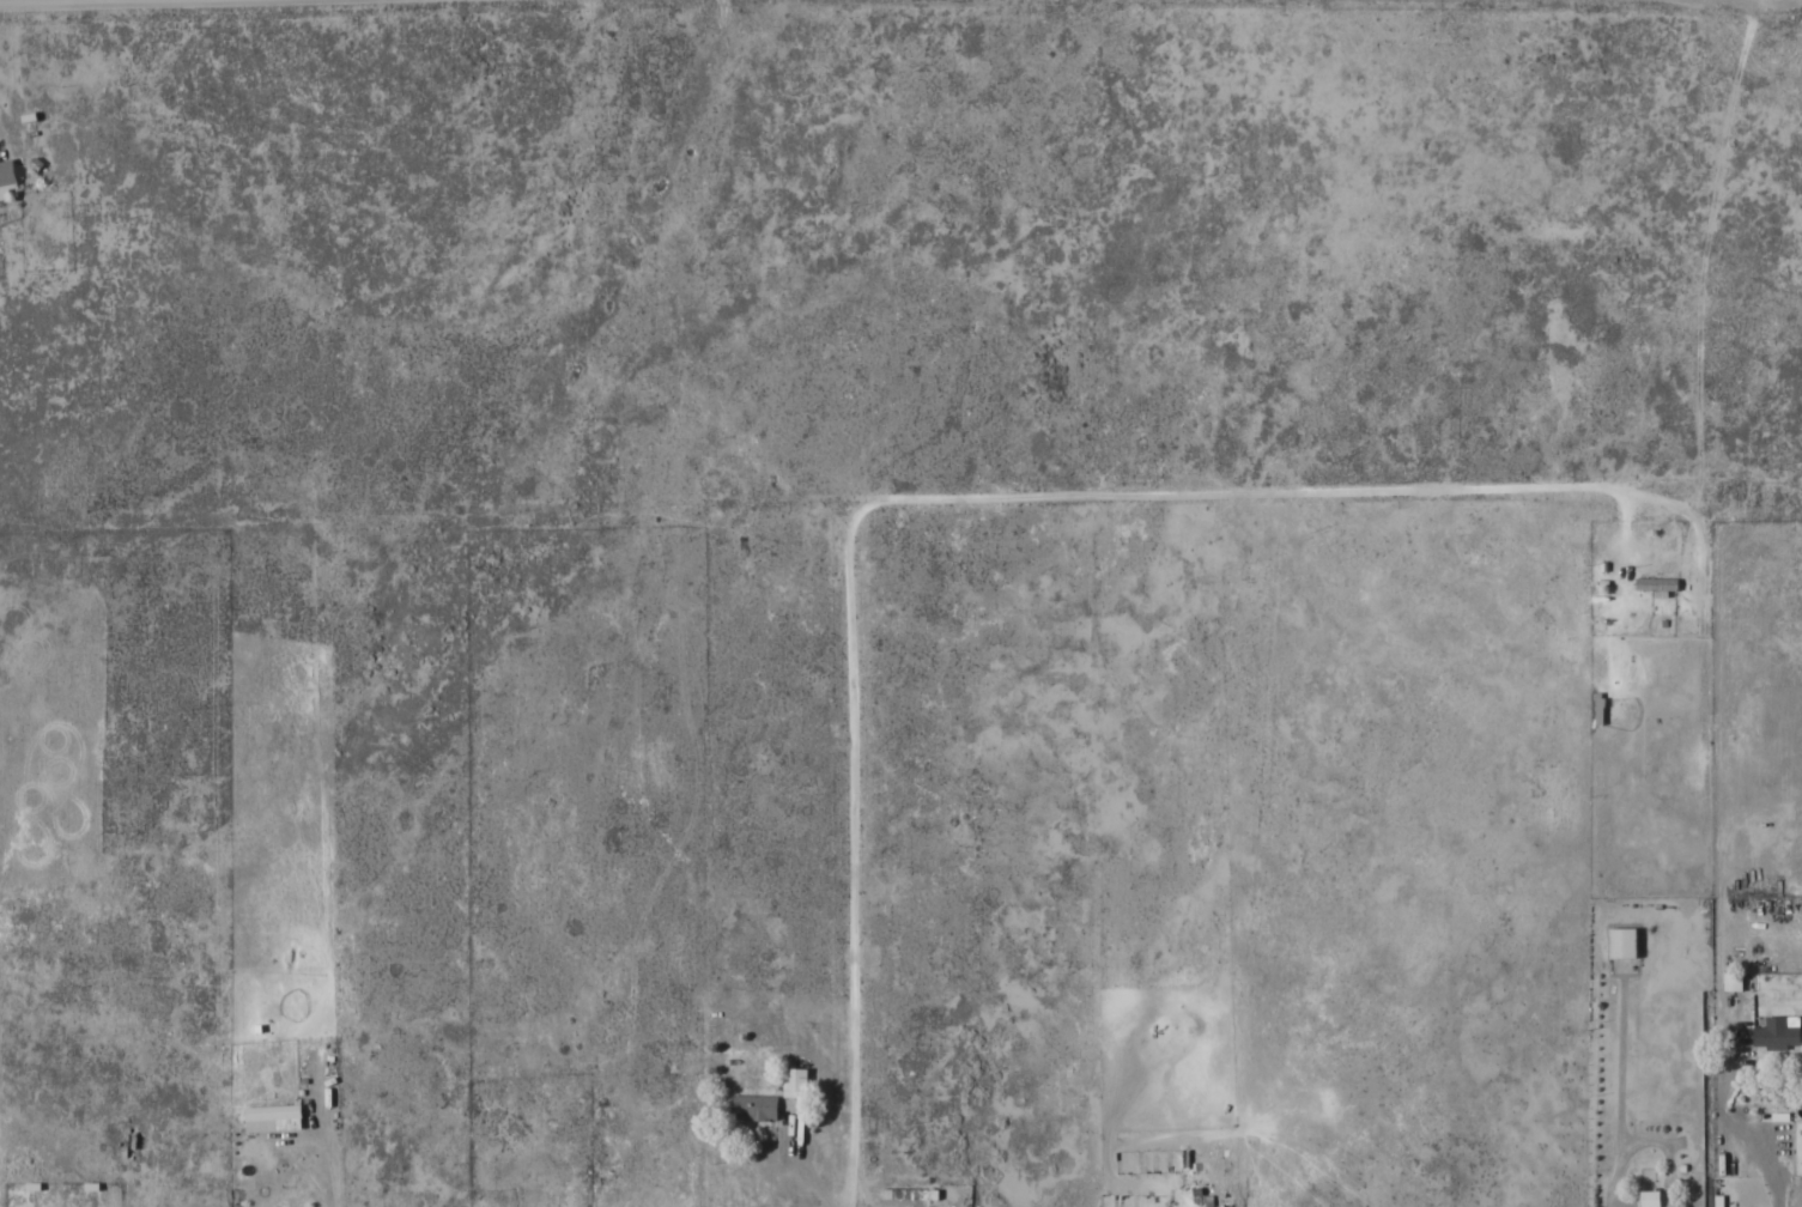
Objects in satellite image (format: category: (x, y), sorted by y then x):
road: (17, 0)
building: (6, 172)
road: (827, 330)
road: (1232, 493)
building: (1656, 583)
road: (857, 855)
building: (1621, 944)
building: (1731, 981)
building: (1777, 1032)
building: (794, 1082)
building: (753, 1106)
building: (272, 1112)
building: (909, 1194)
building: (1654, 1199)

